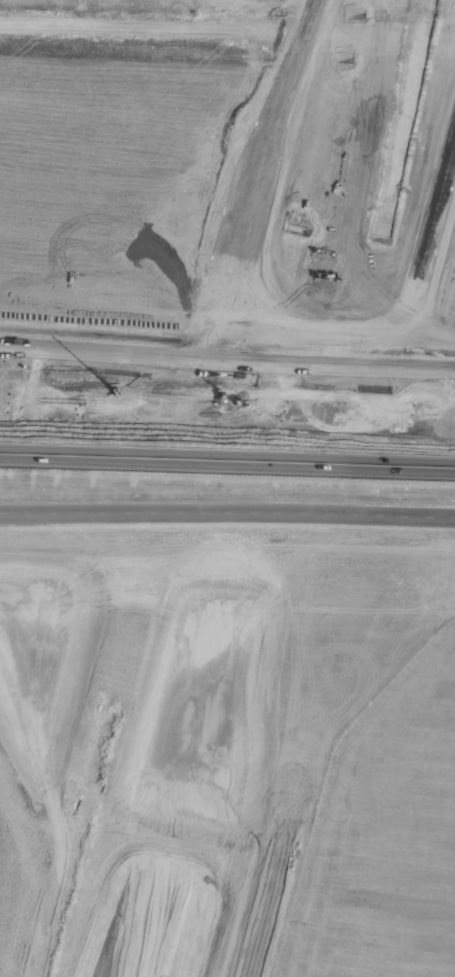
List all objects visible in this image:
road: (227, 353)
road: (227, 415)
road: (227, 459)
road: (227, 512)

